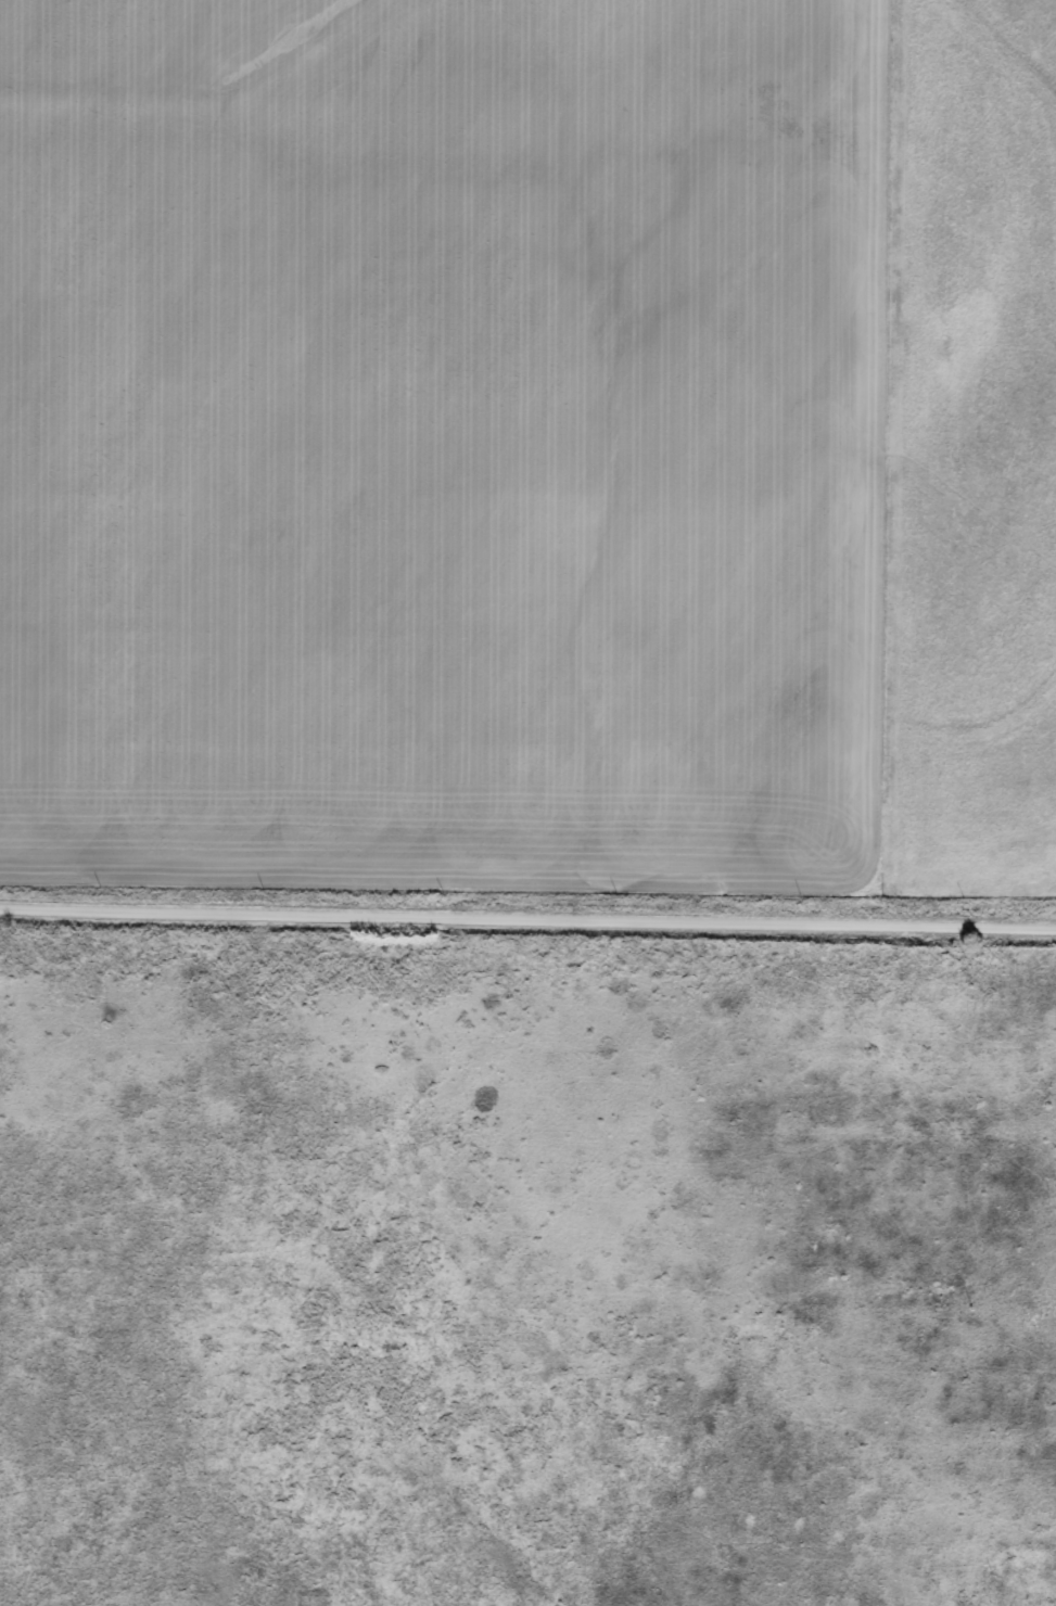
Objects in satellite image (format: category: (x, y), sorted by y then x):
road: (527, 917)

